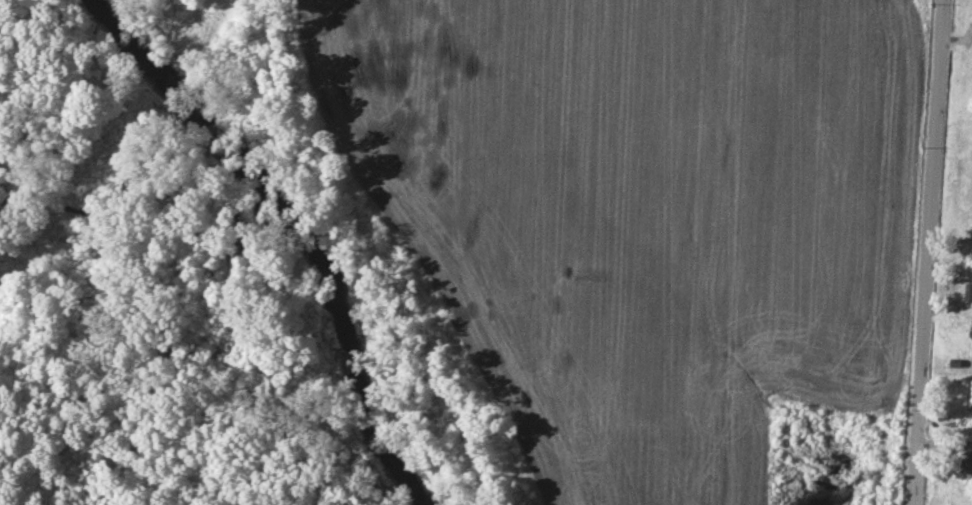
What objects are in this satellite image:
river: (300, 229)
road: (933, 252)
building: (970, 292)
building: (967, 457)

